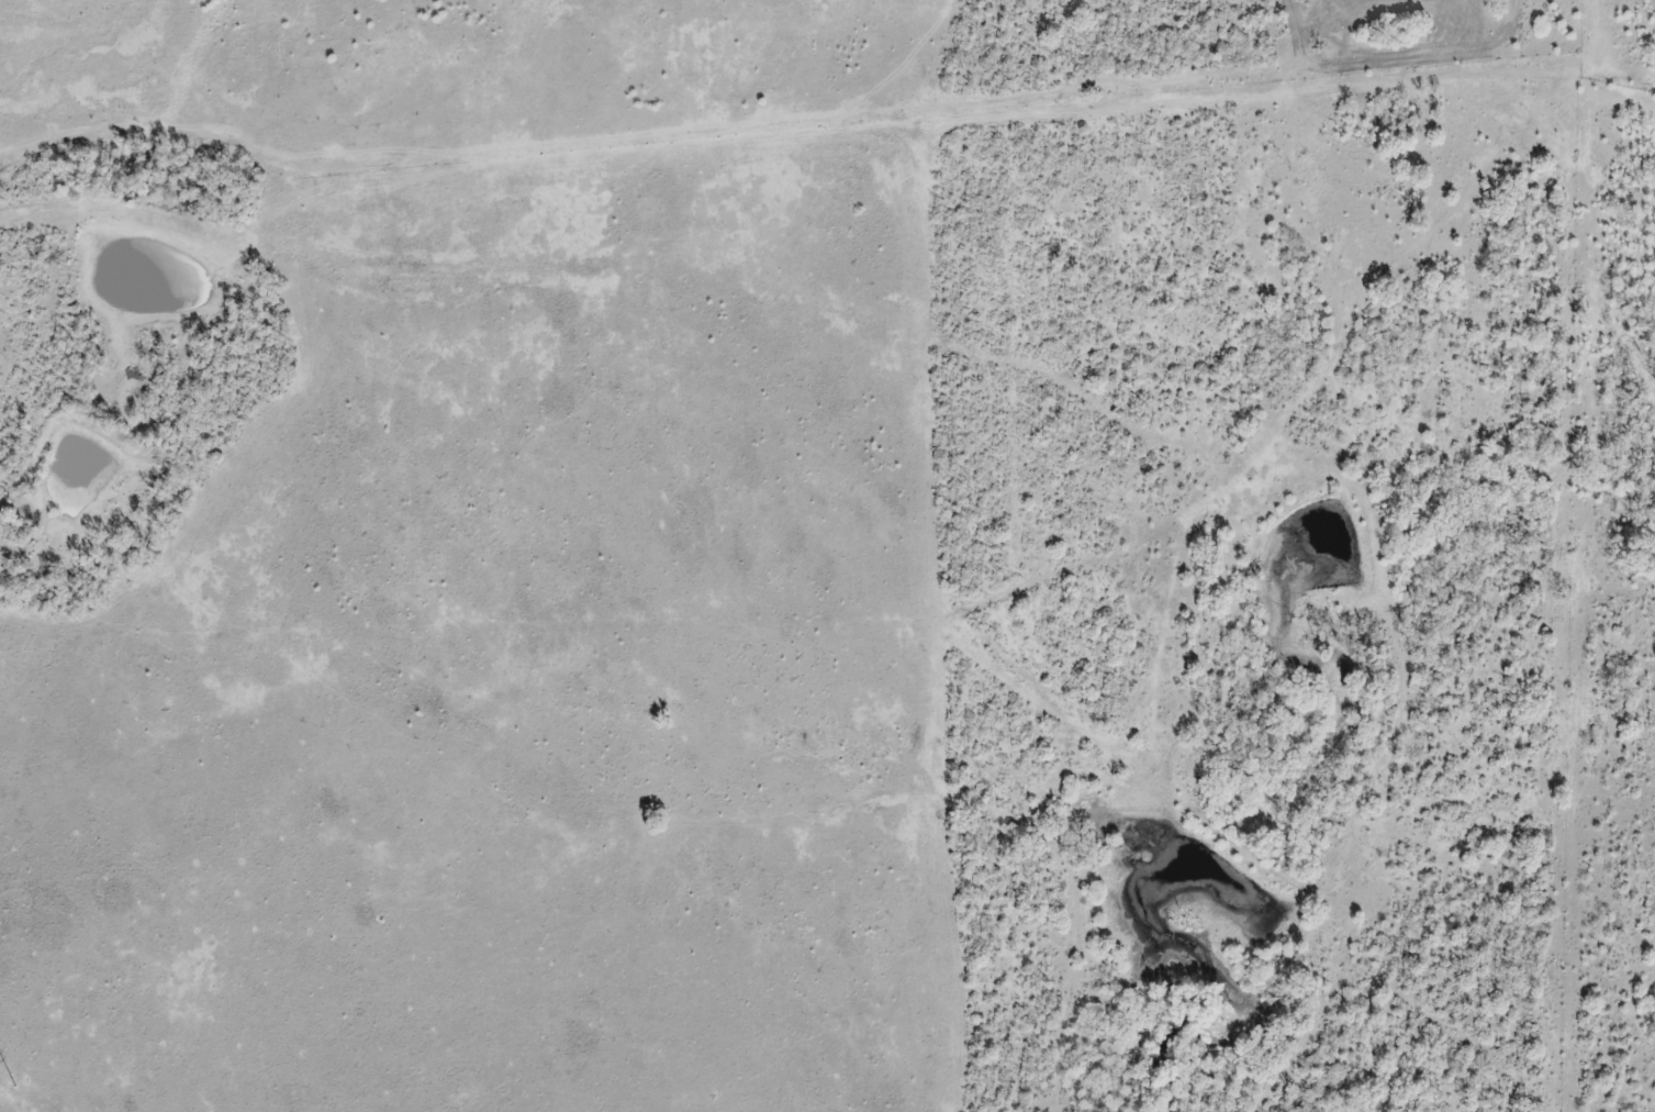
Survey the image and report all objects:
power tower: (10, 1083)

